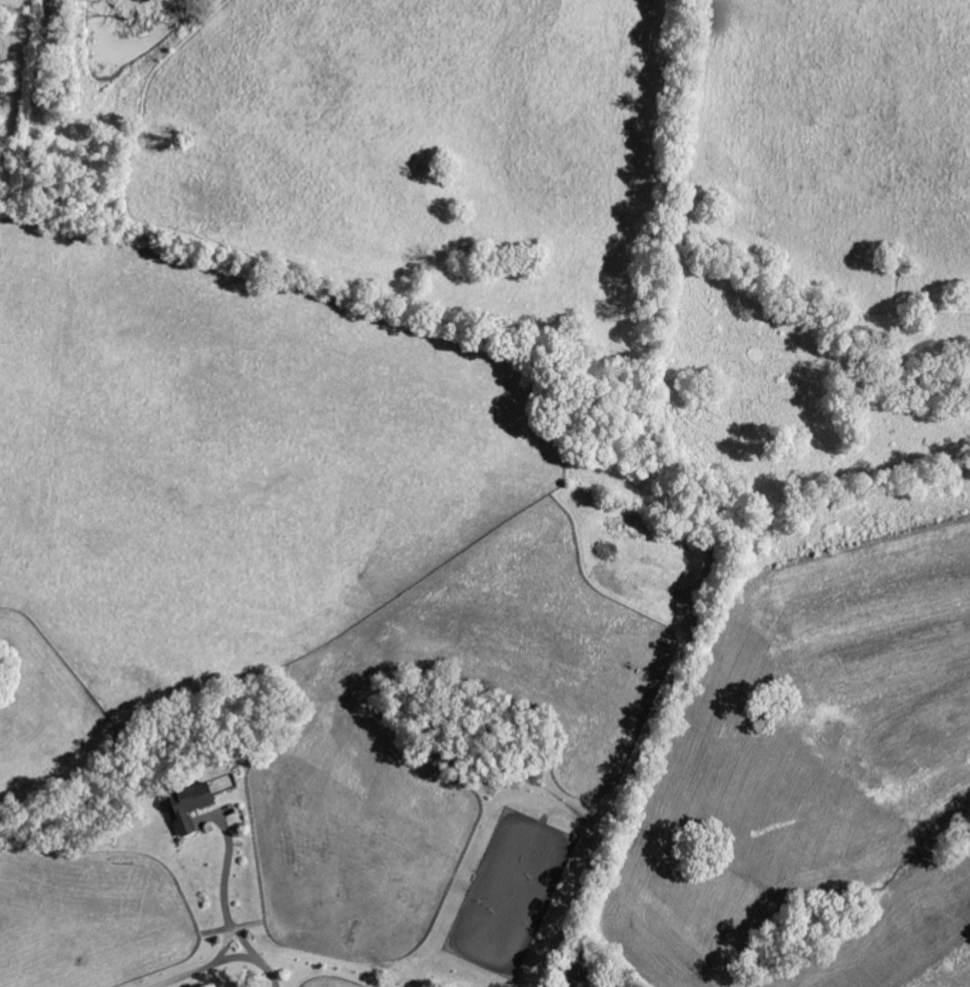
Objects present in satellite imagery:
building: (194, 805)
road: (225, 891)
road: (223, 961)
building: (574, 986)
building: (595, 986)

